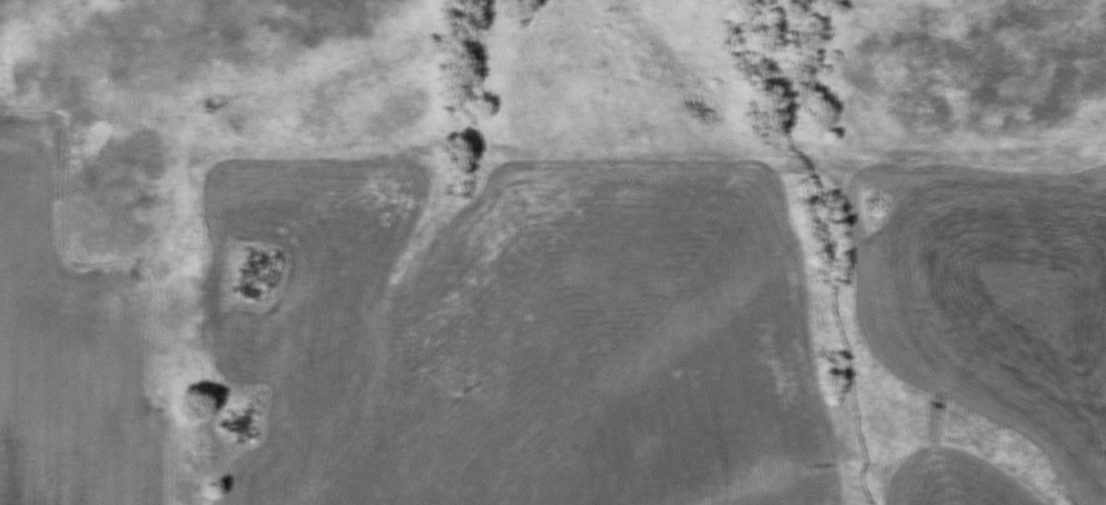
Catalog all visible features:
crop: (57, 364)

